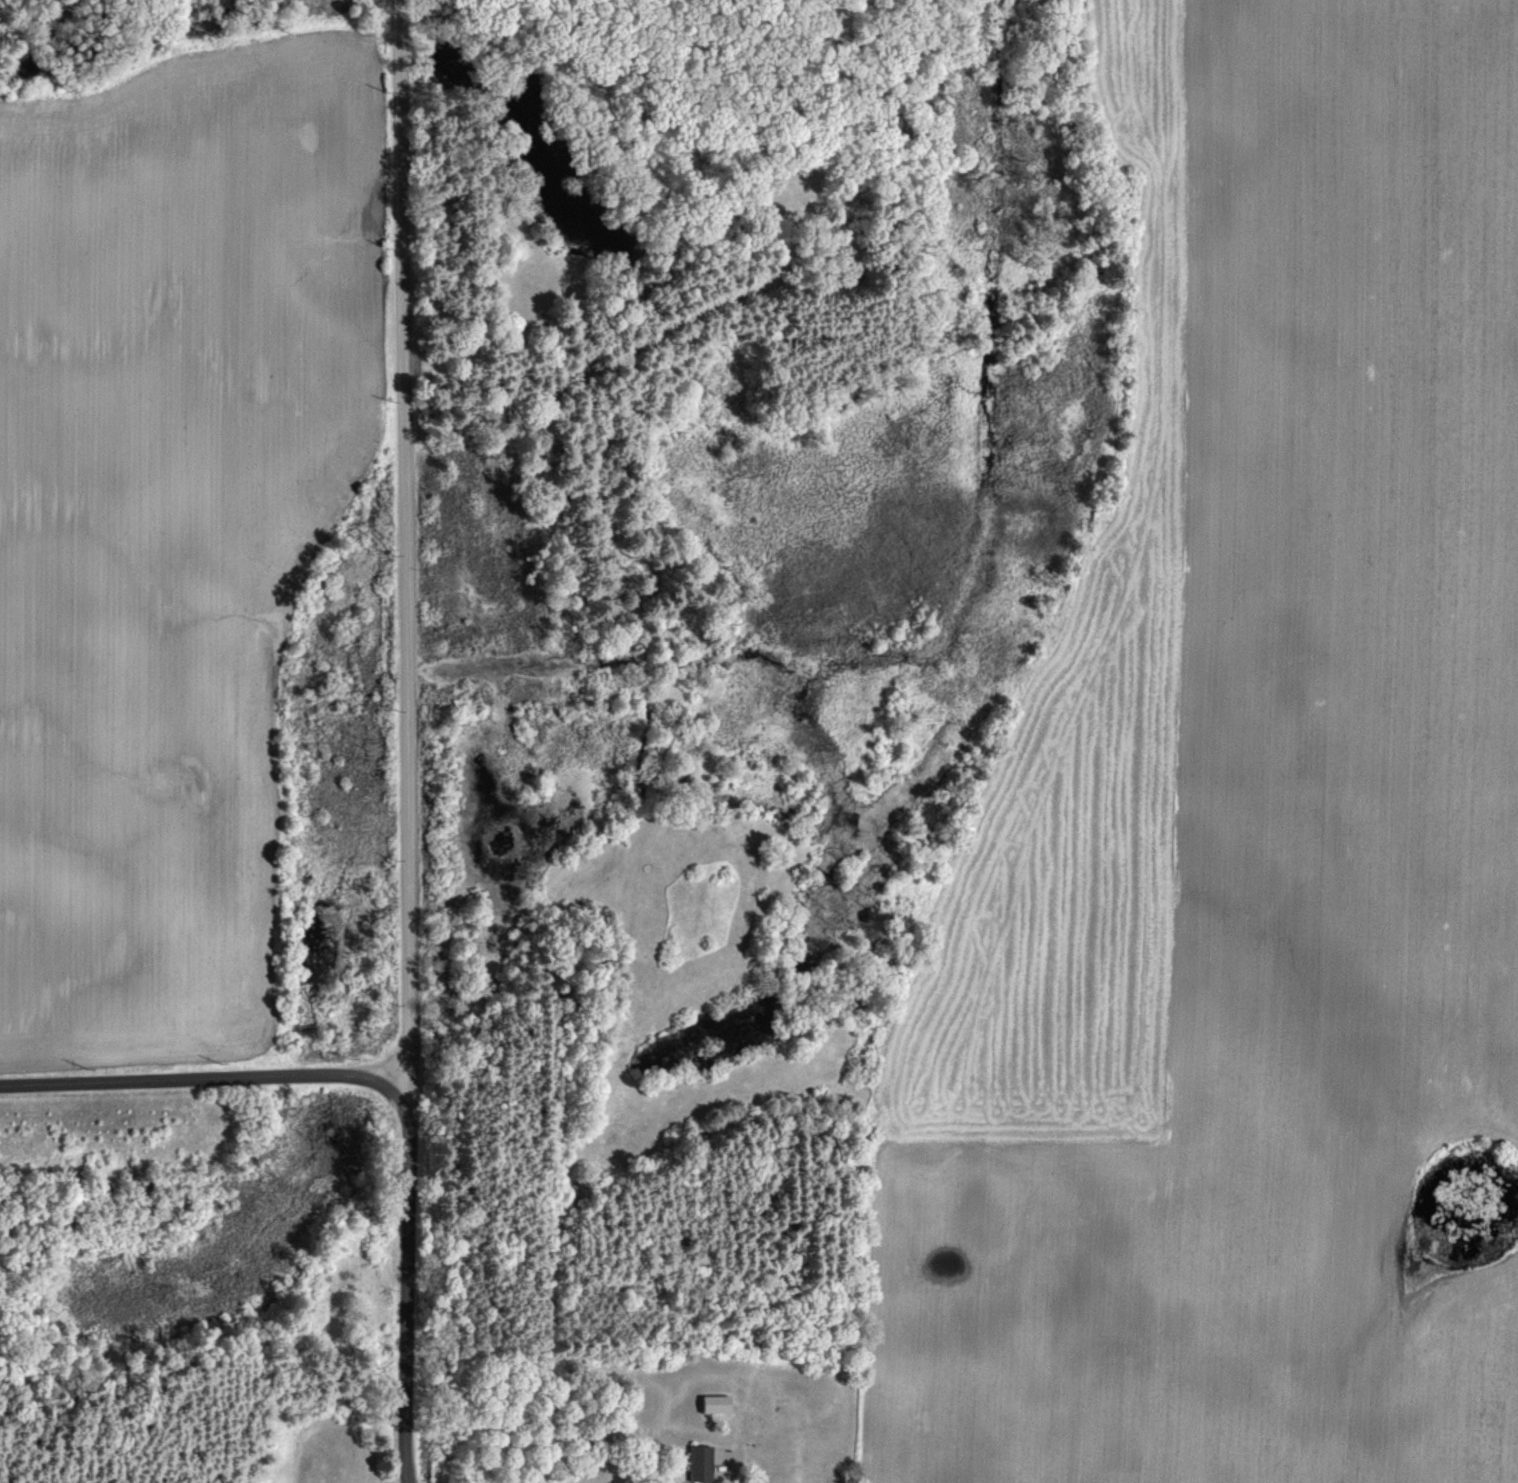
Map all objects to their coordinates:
road: (405, 557)
road: (384, 1068)
road: (212, 1078)
road: (406, 1299)
building: (719, 1403)
building: (703, 1463)

